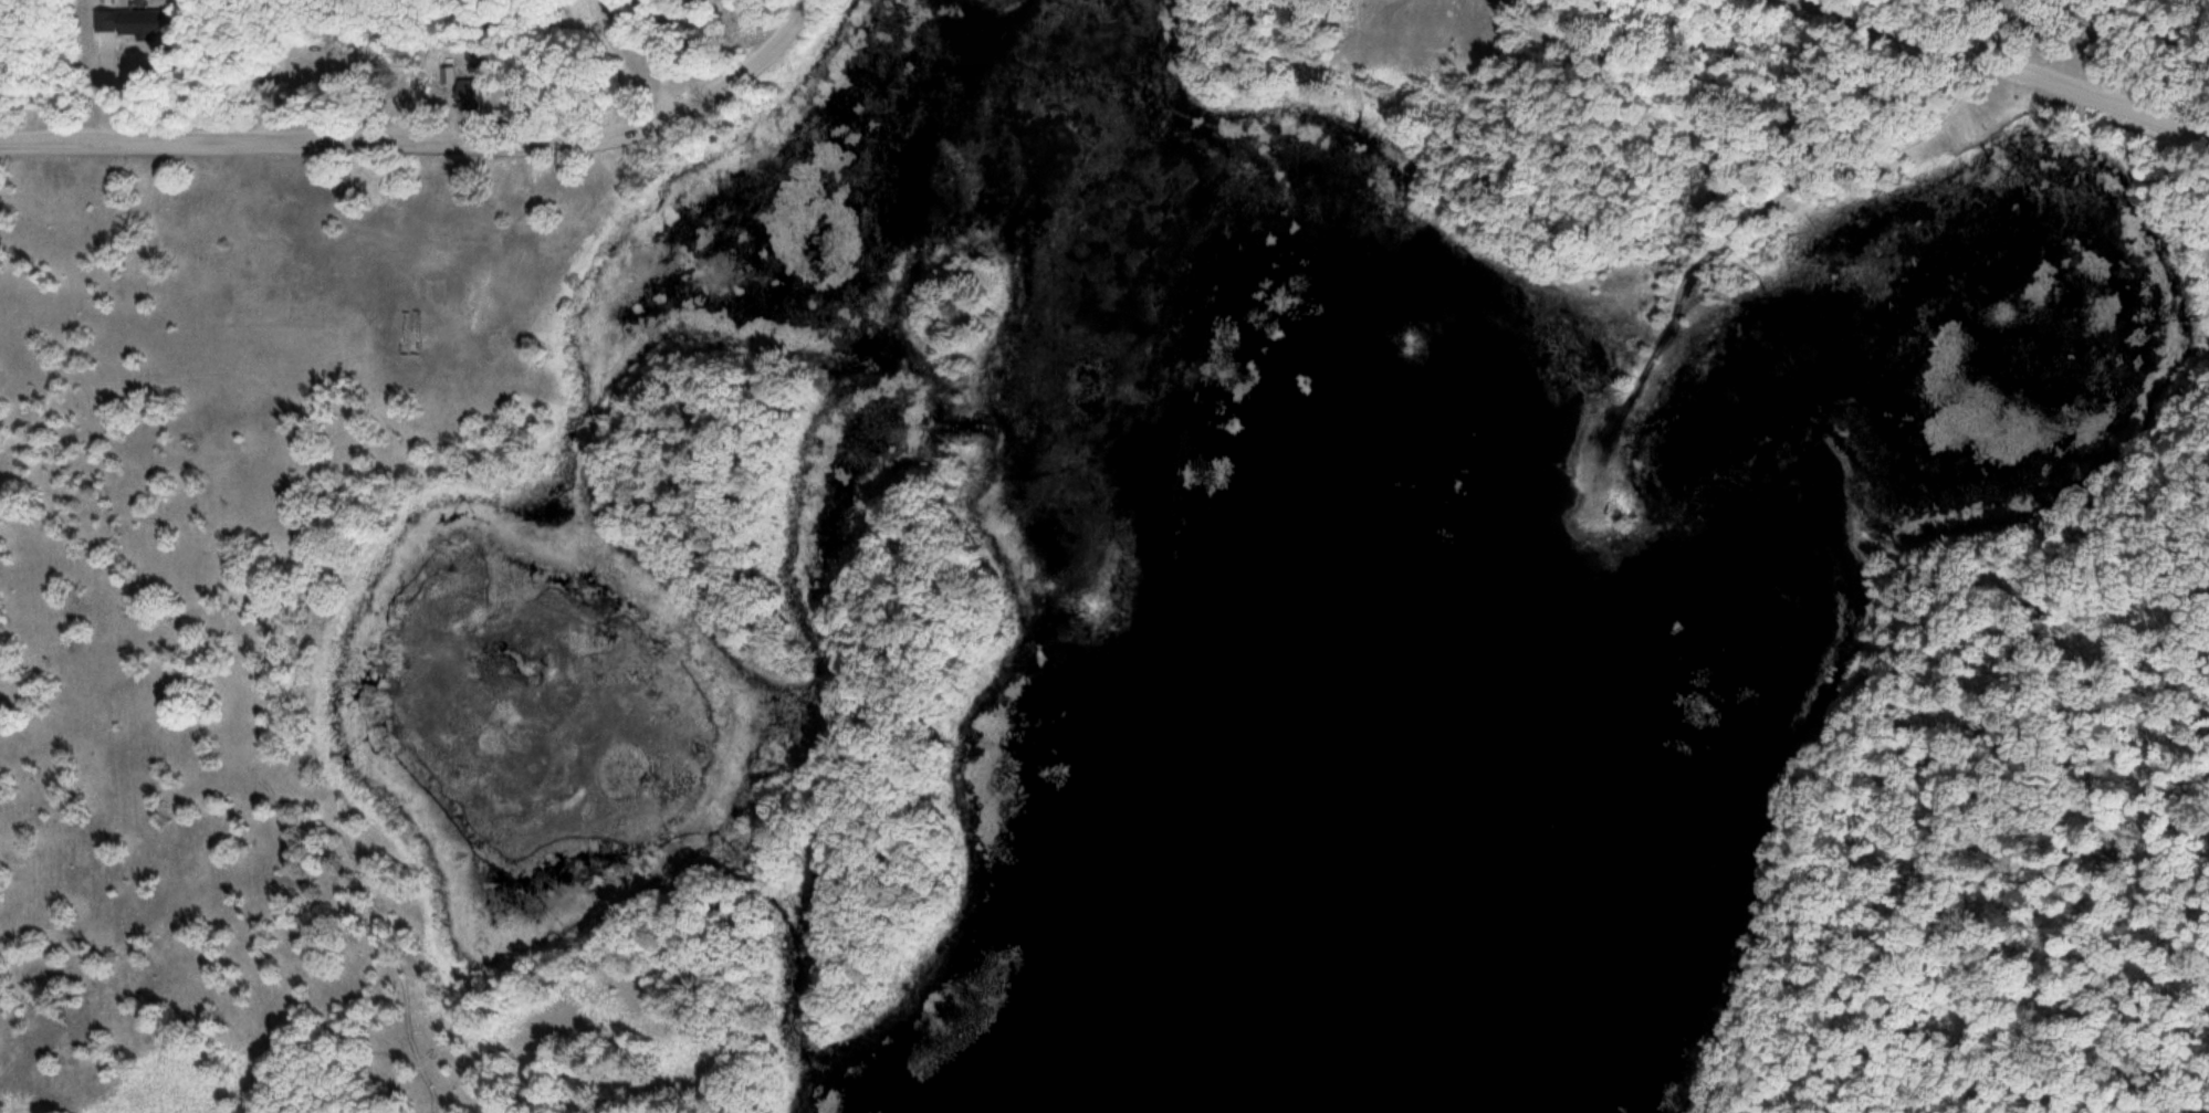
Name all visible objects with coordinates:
building: (138, 24)
road: (2002, 67)
building: (475, 101)
road: (427, 140)

